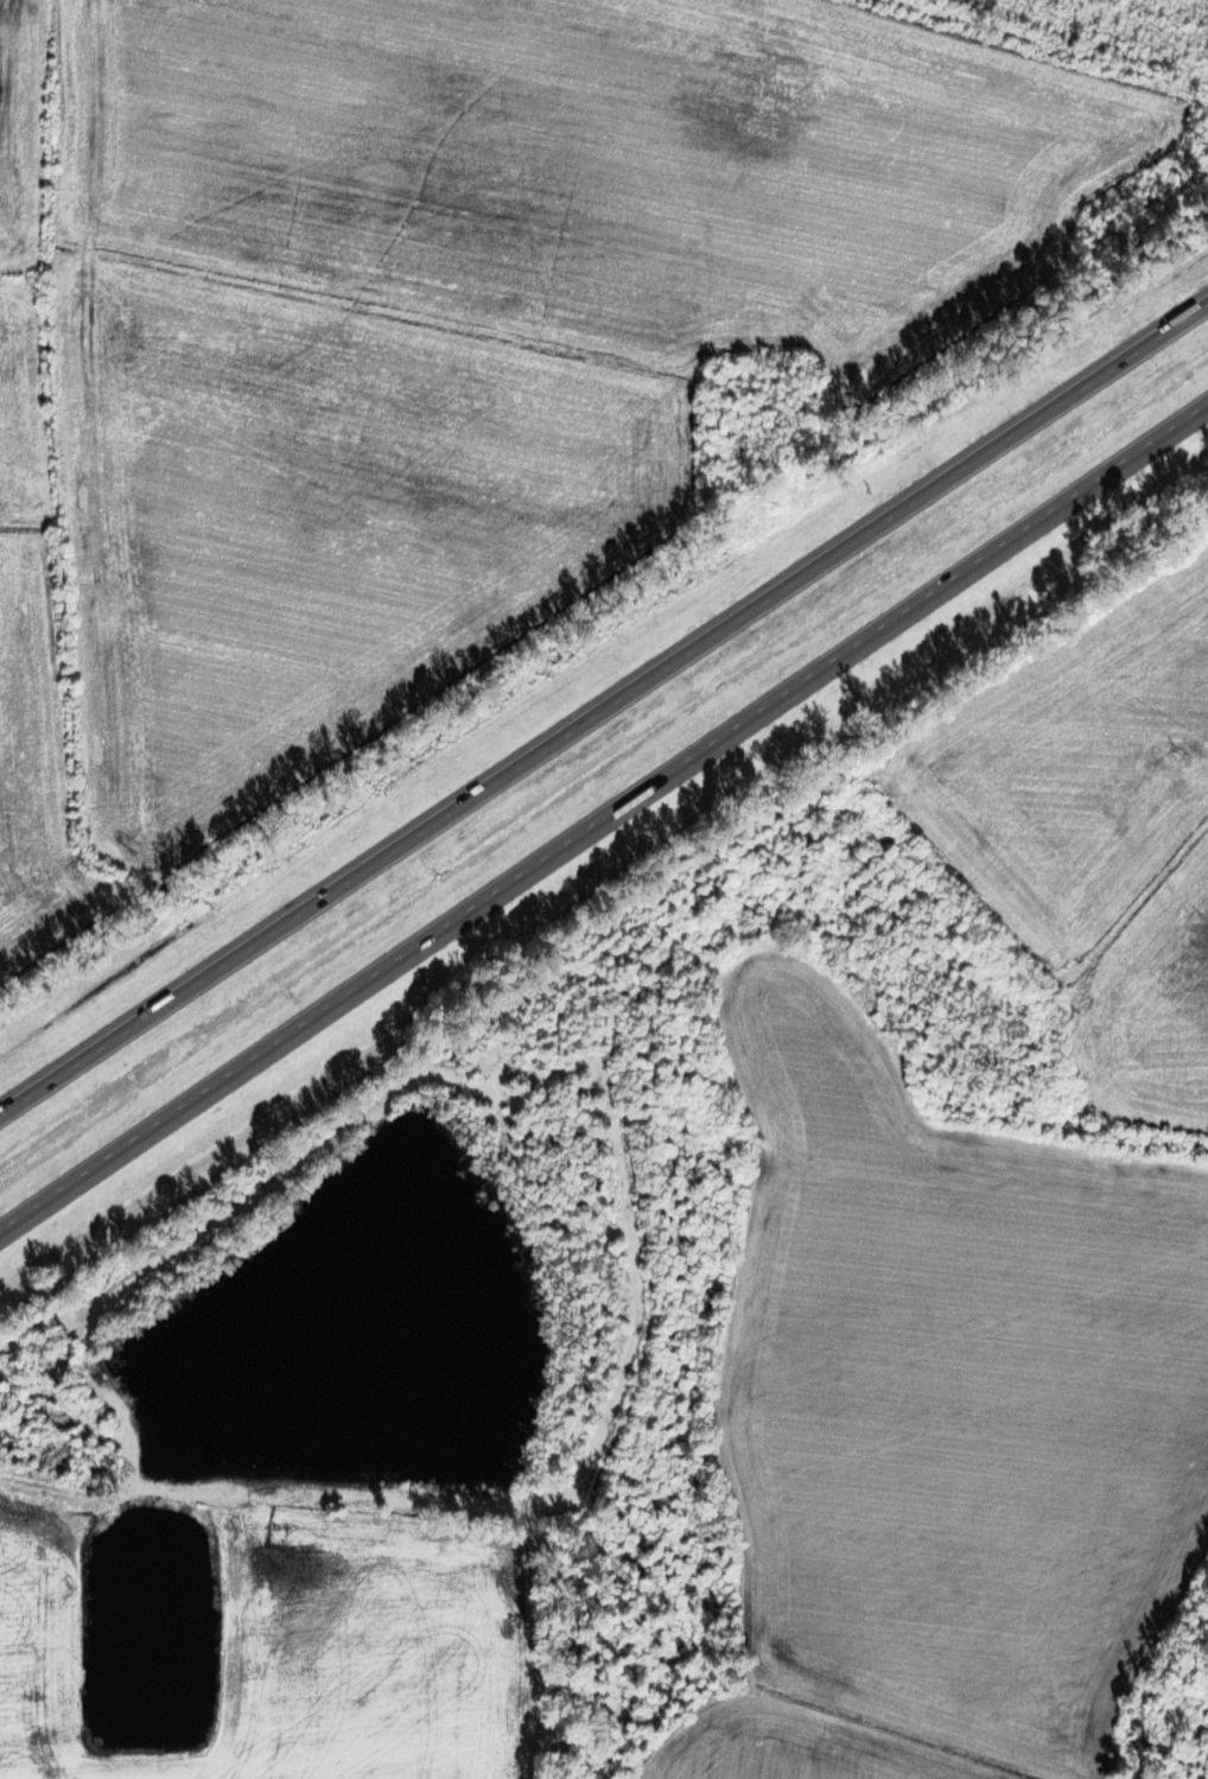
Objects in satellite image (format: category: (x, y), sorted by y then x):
road: (604, 717)
road: (603, 821)
road: (610, 1422)

